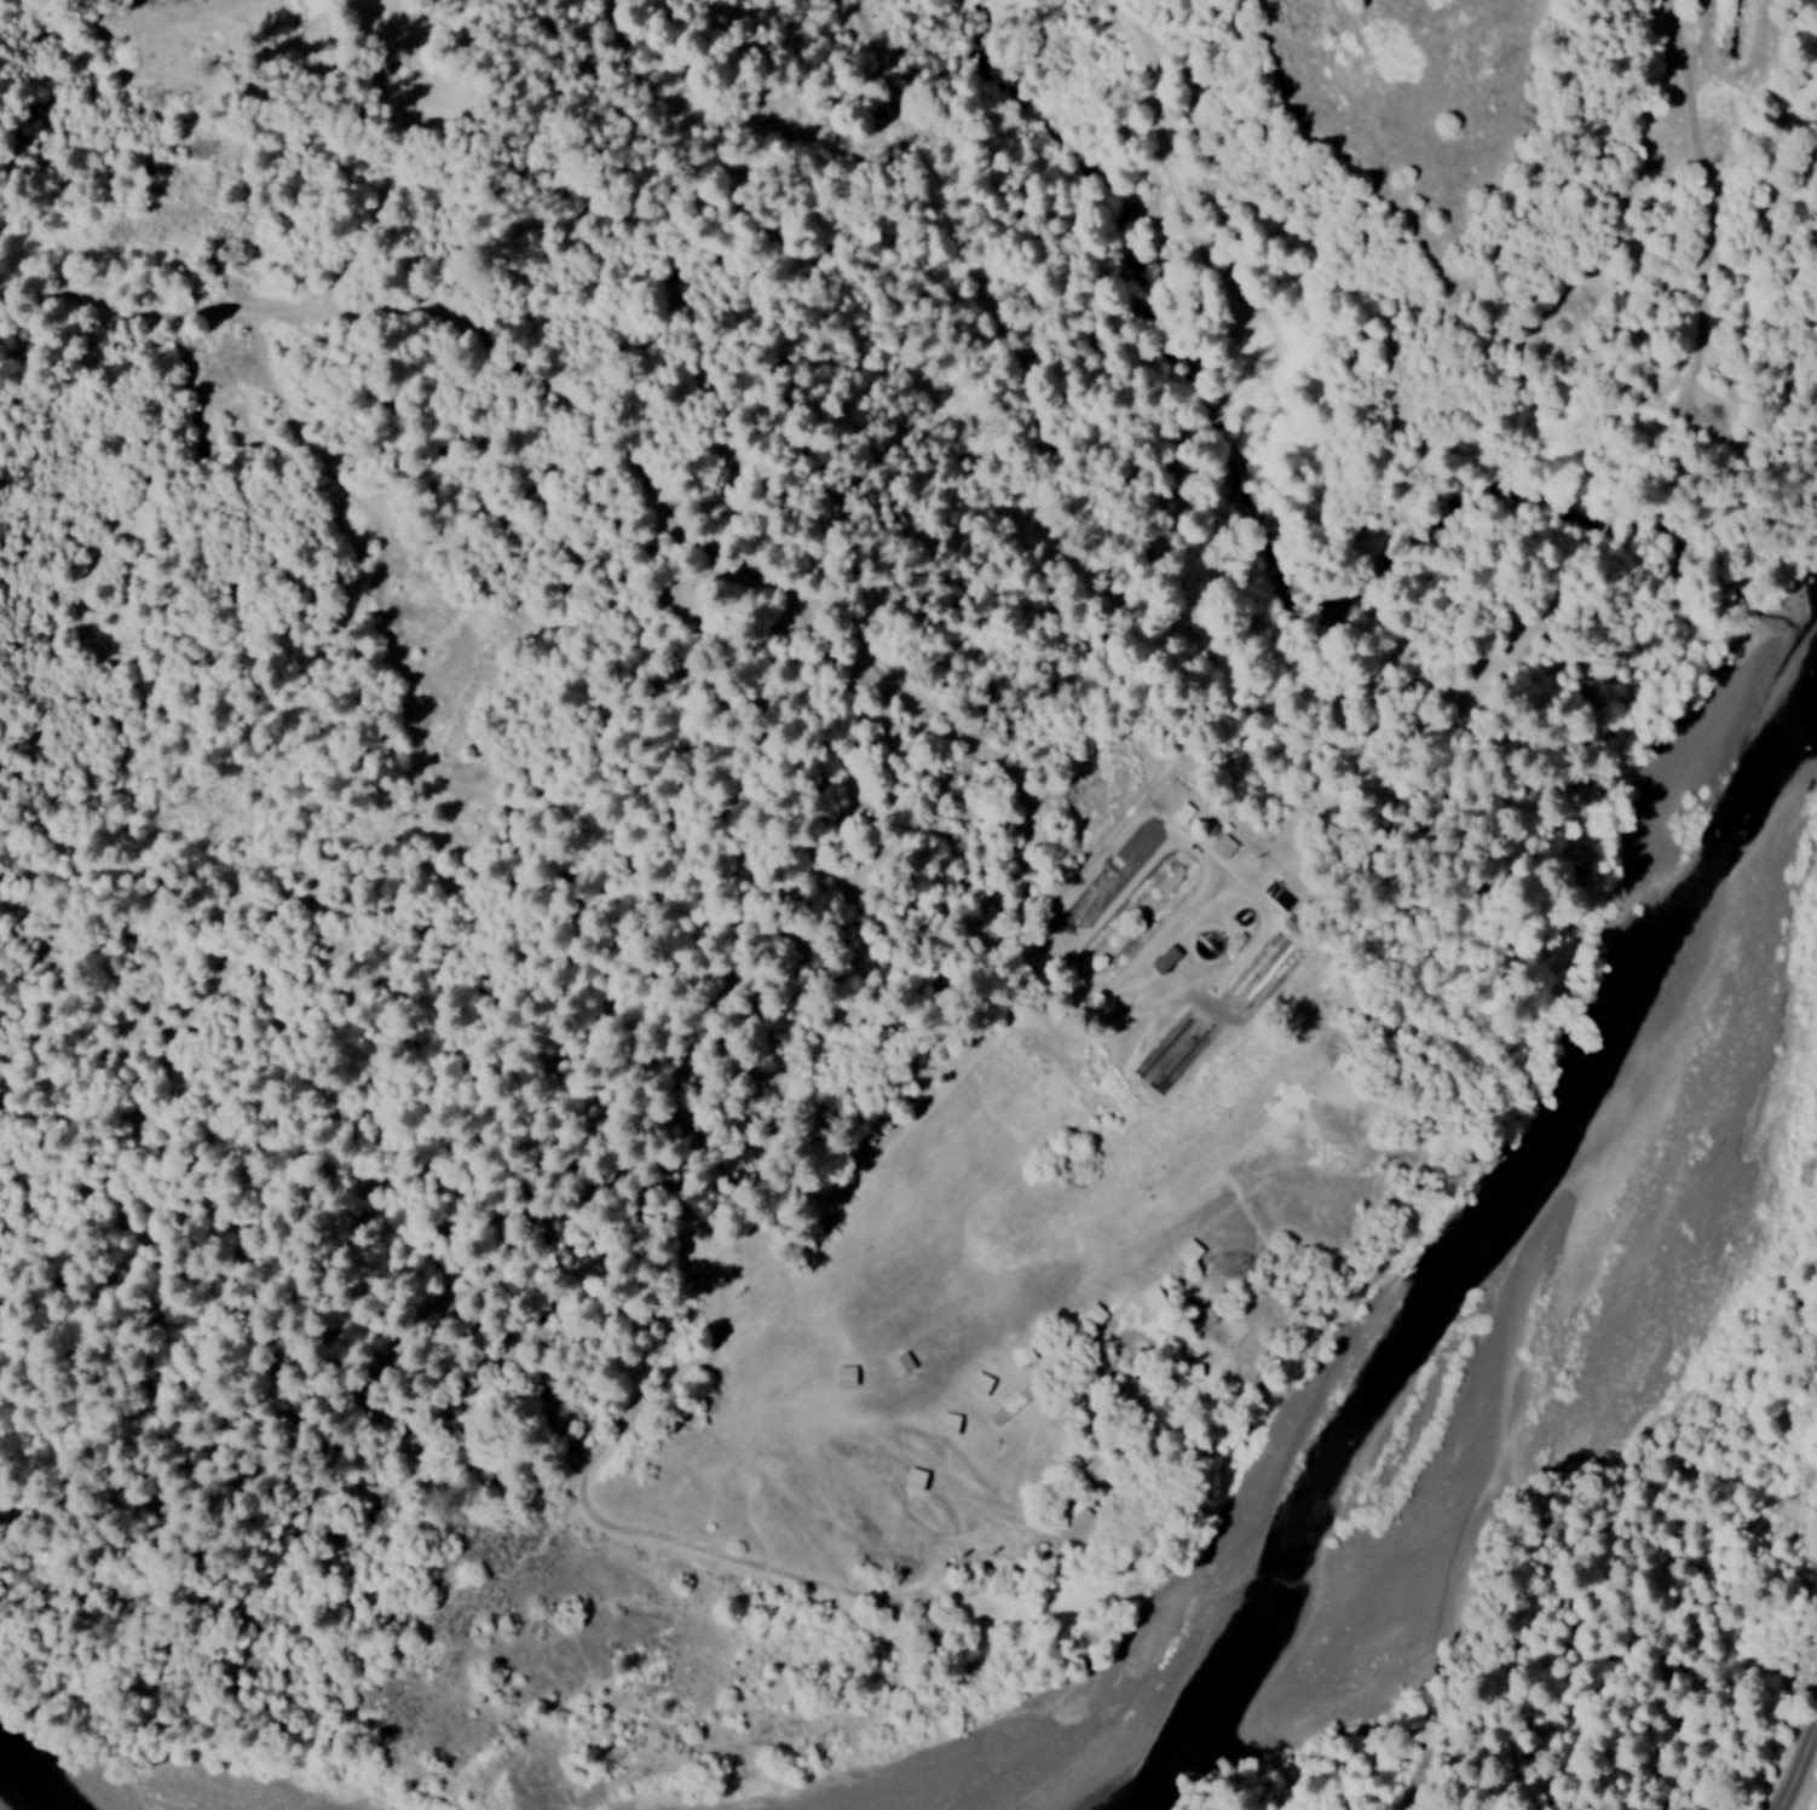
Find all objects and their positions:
river: (1729, 691)
building: (1186, 812)
building: (1224, 846)
road: (1032, 880)
building: (1169, 958)
building: (1262, 959)
building: (1025, 1354)
building: (904, 1364)
river: (1530, 1370)
building: (849, 1376)
building: (982, 1384)
building: (1014, 1402)
building: (952, 1423)
building: (918, 1478)
building: (1074, 1524)
road: (1804, 1772)
river: (47, 1782)

